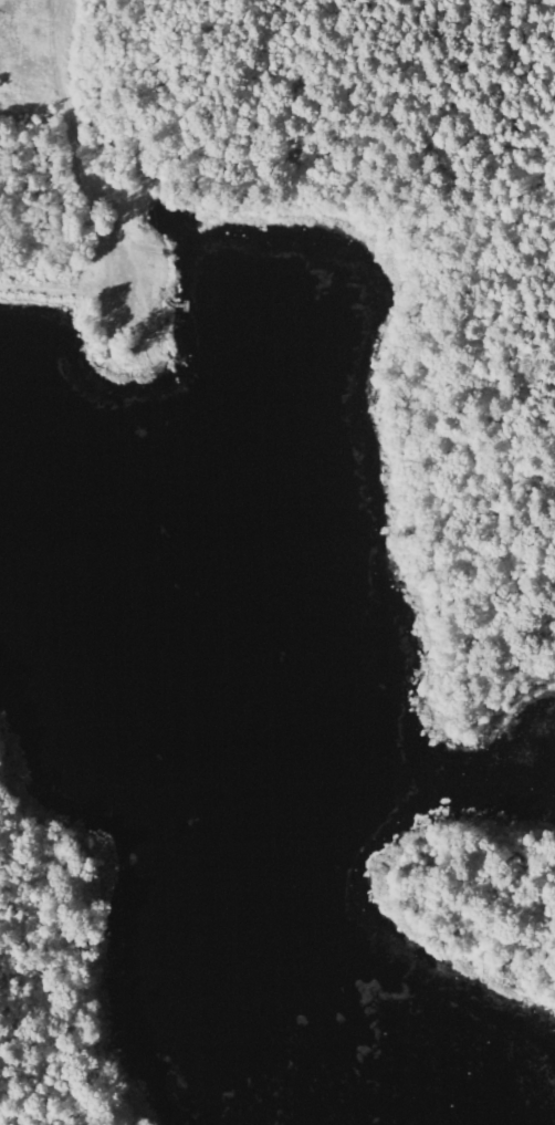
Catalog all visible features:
road: (66, 112)
dam: (161, 217)

